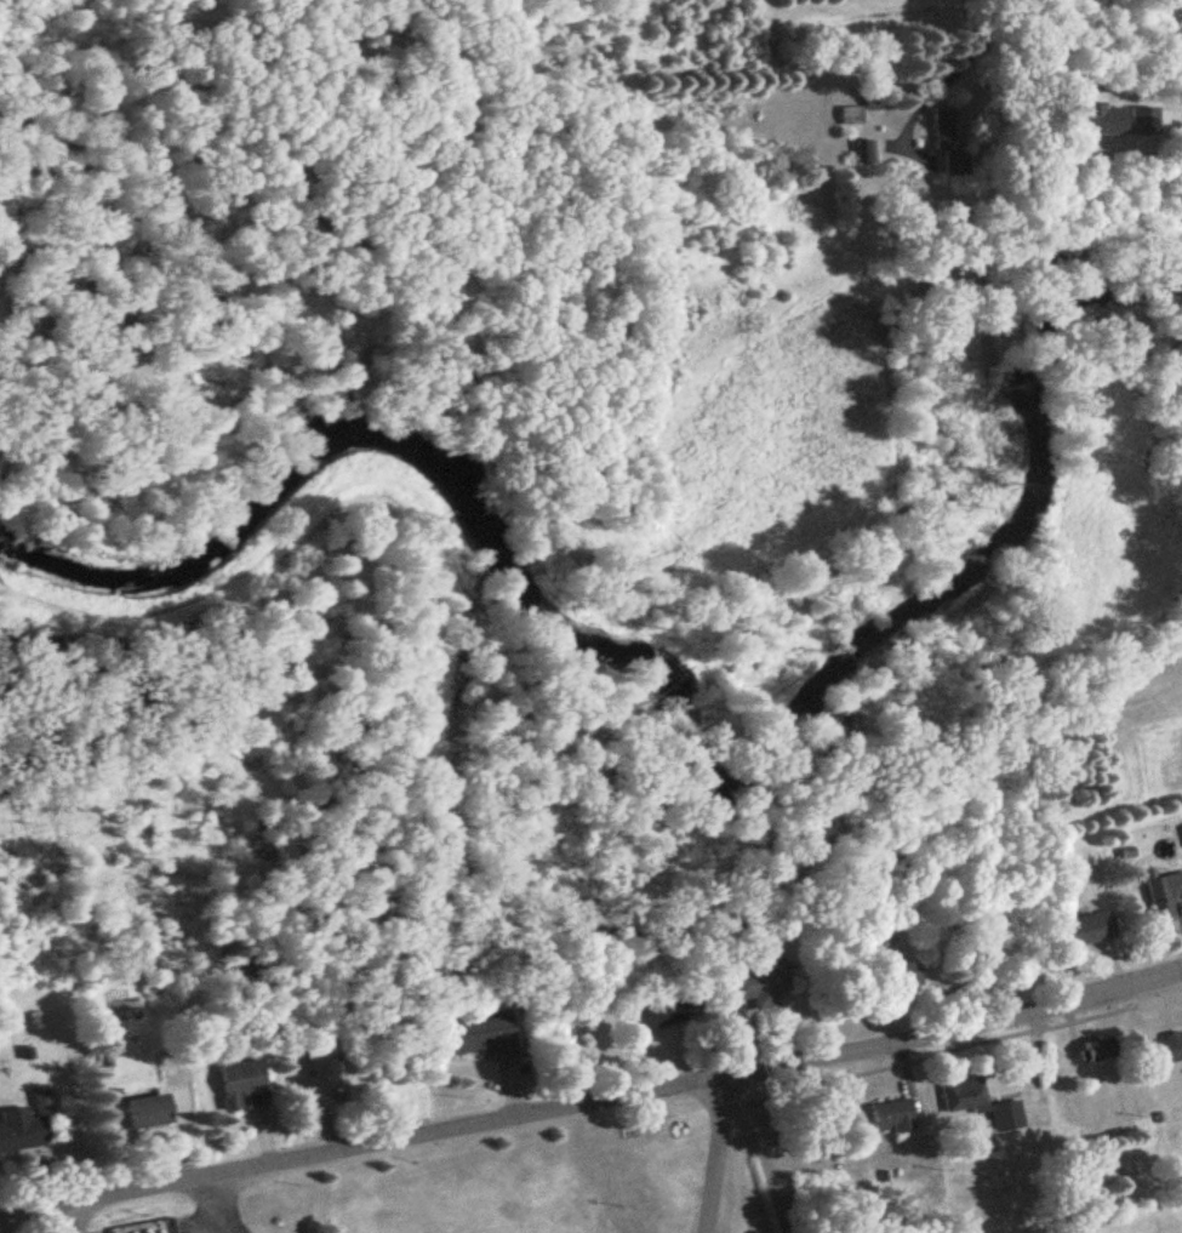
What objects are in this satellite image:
road: (944, 79)
building: (946, 130)
building: (868, 153)
river: (670, 693)
building: (1164, 896)
park: (5, 926)
building: (1086, 931)
building: (904, 977)
building: (760, 989)
building: (666, 1012)
building: (482, 1034)
building: (1101, 1050)
building: (1167, 1050)
building: (245, 1086)
building: (320, 1086)
road: (592, 1102)
building: (989, 1107)
building: (150, 1111)
building: (895, 1117)
building: (22, 1131)
road: (716, 1154)
road: (221, 1206)
road: (75, 1218)

